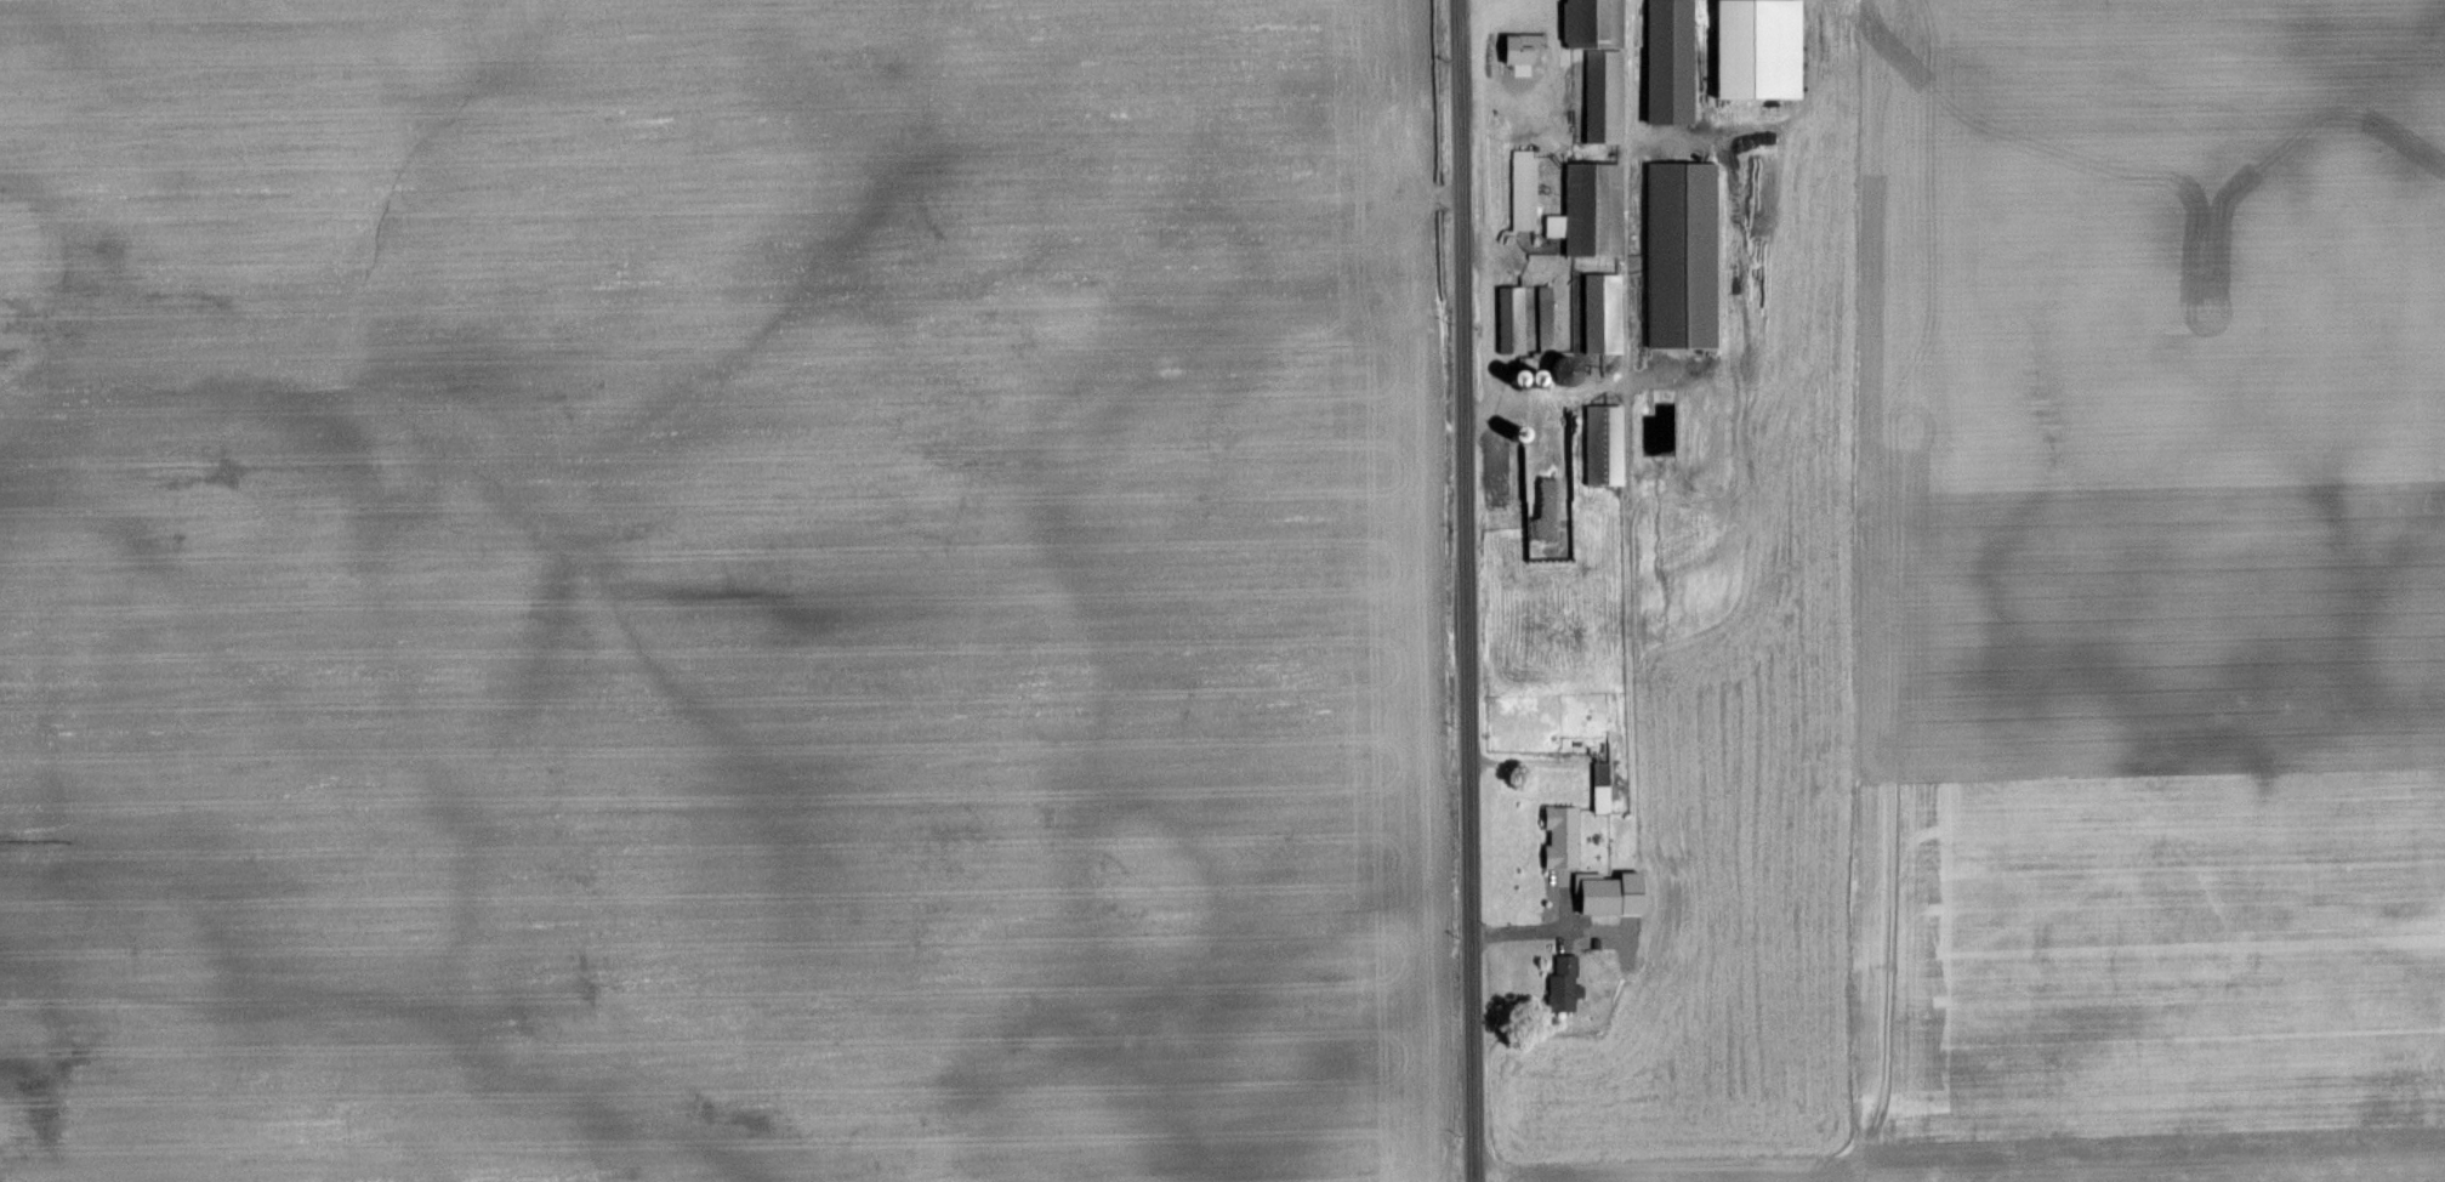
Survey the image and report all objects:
building: (1523, 55)
road: (1490, 61)
building: (1674, 61)
building: (1604, 63)
road: (1634, 69)
road: (1552, 89)
road: (1774, 119)
road: (1585, 150)
road: (1479, 177)
building: (1528, 189)
building: (1598, 209)
building: (1558, 226)
building: (1688, 255)
road: (1501, 258)
building: (1609, 313)
building: (1517, 319)
road: (1485, 340)
road: (1626, 365)
road: (1610, 380)
road: (1627, 392)
road: (1540, 421)
building: (1611, 444)
road: (1467, 591)
road: (1526, 758)
building: (1602, 784)
building: (1563, 836)
building: (1599, 892)
road: (1543, 928)
road: (1566, 937)
building: (1597, 943)
building: (1563, 983)

